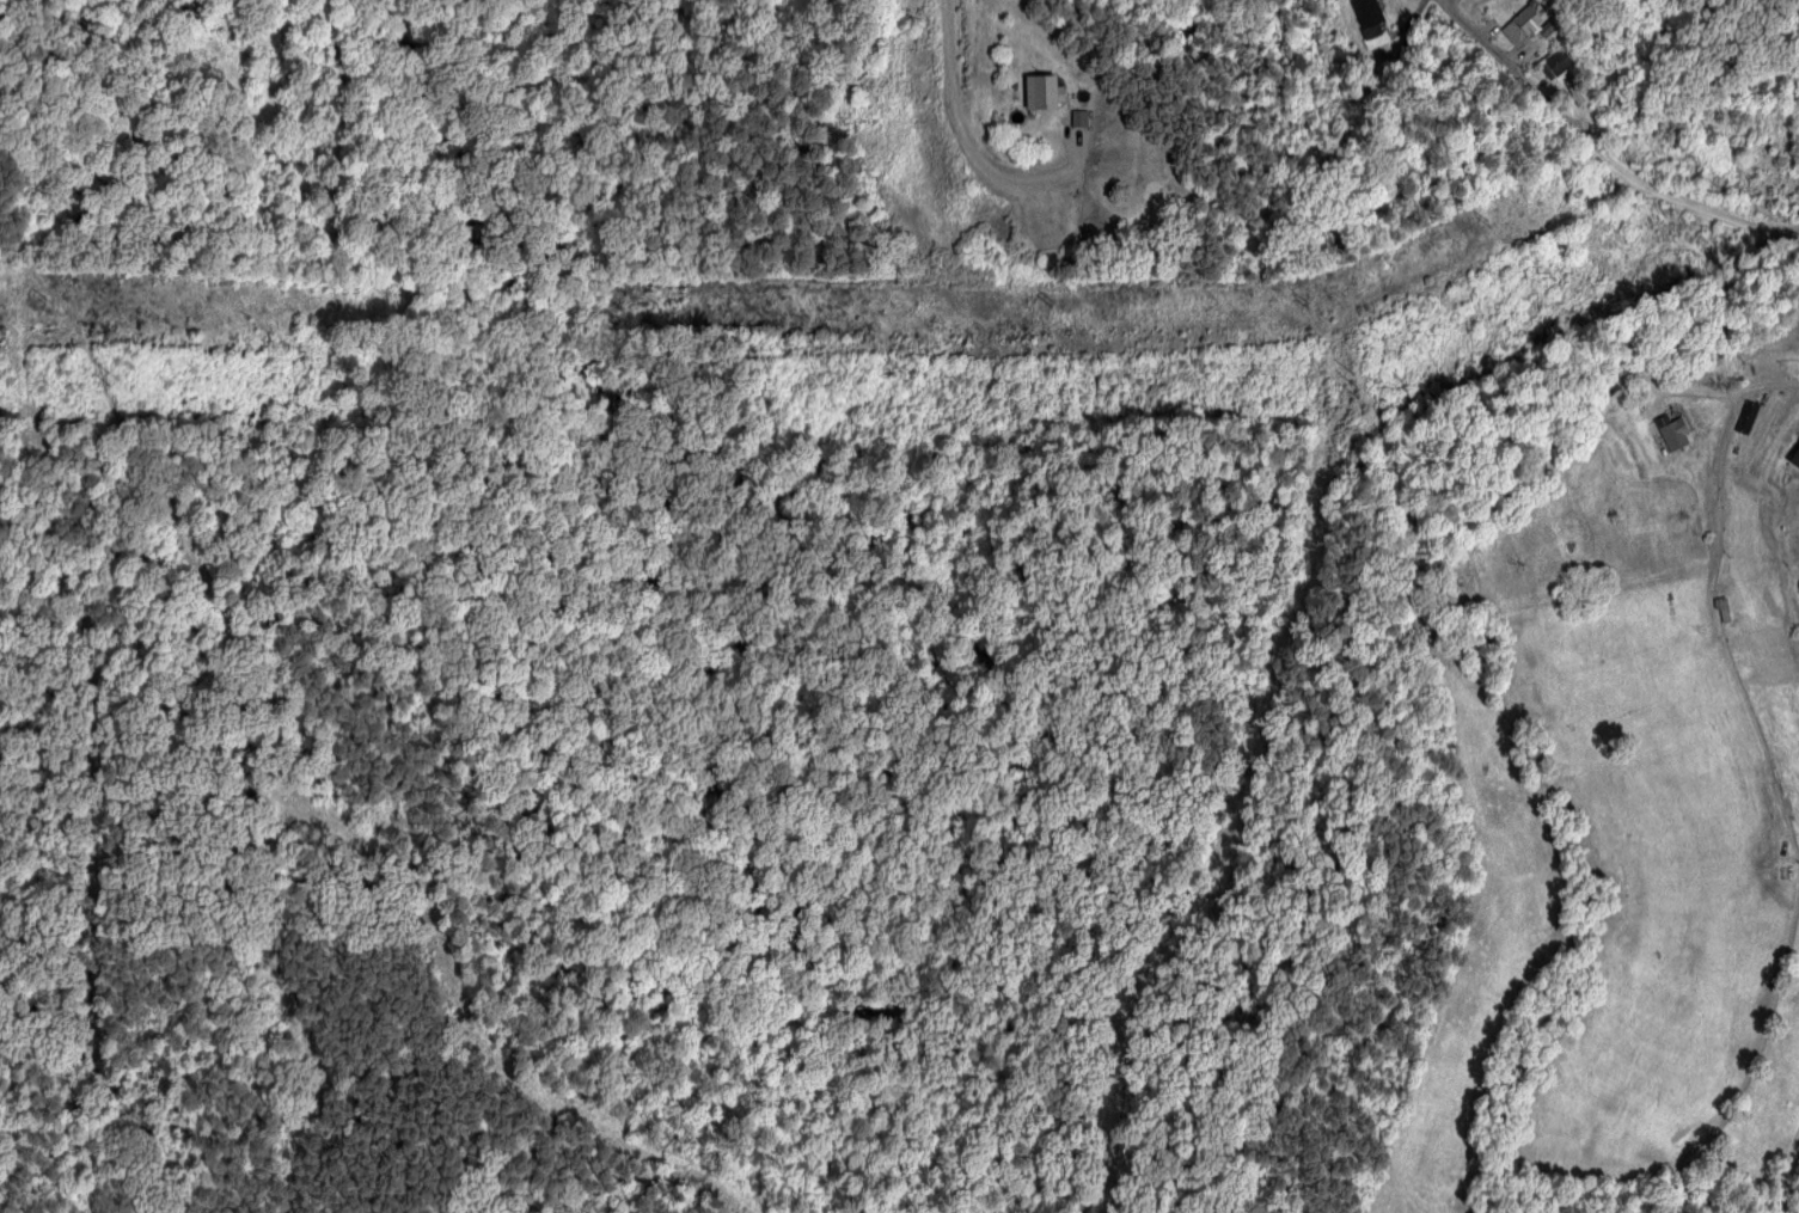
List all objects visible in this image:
building: (1370, 20)
building: (1523, 22)
road: (1470, 27)
building: (1555, 62)
building: (1041, 91)
building: (1078, 117)
road: (968, 137)
road: (1629, 178)
road: (1786, 232)
road: (1728, 392)
building: (1745, 416)
building: (1671, 431)
building: (1794, 457)
road: (1783, 1182)

